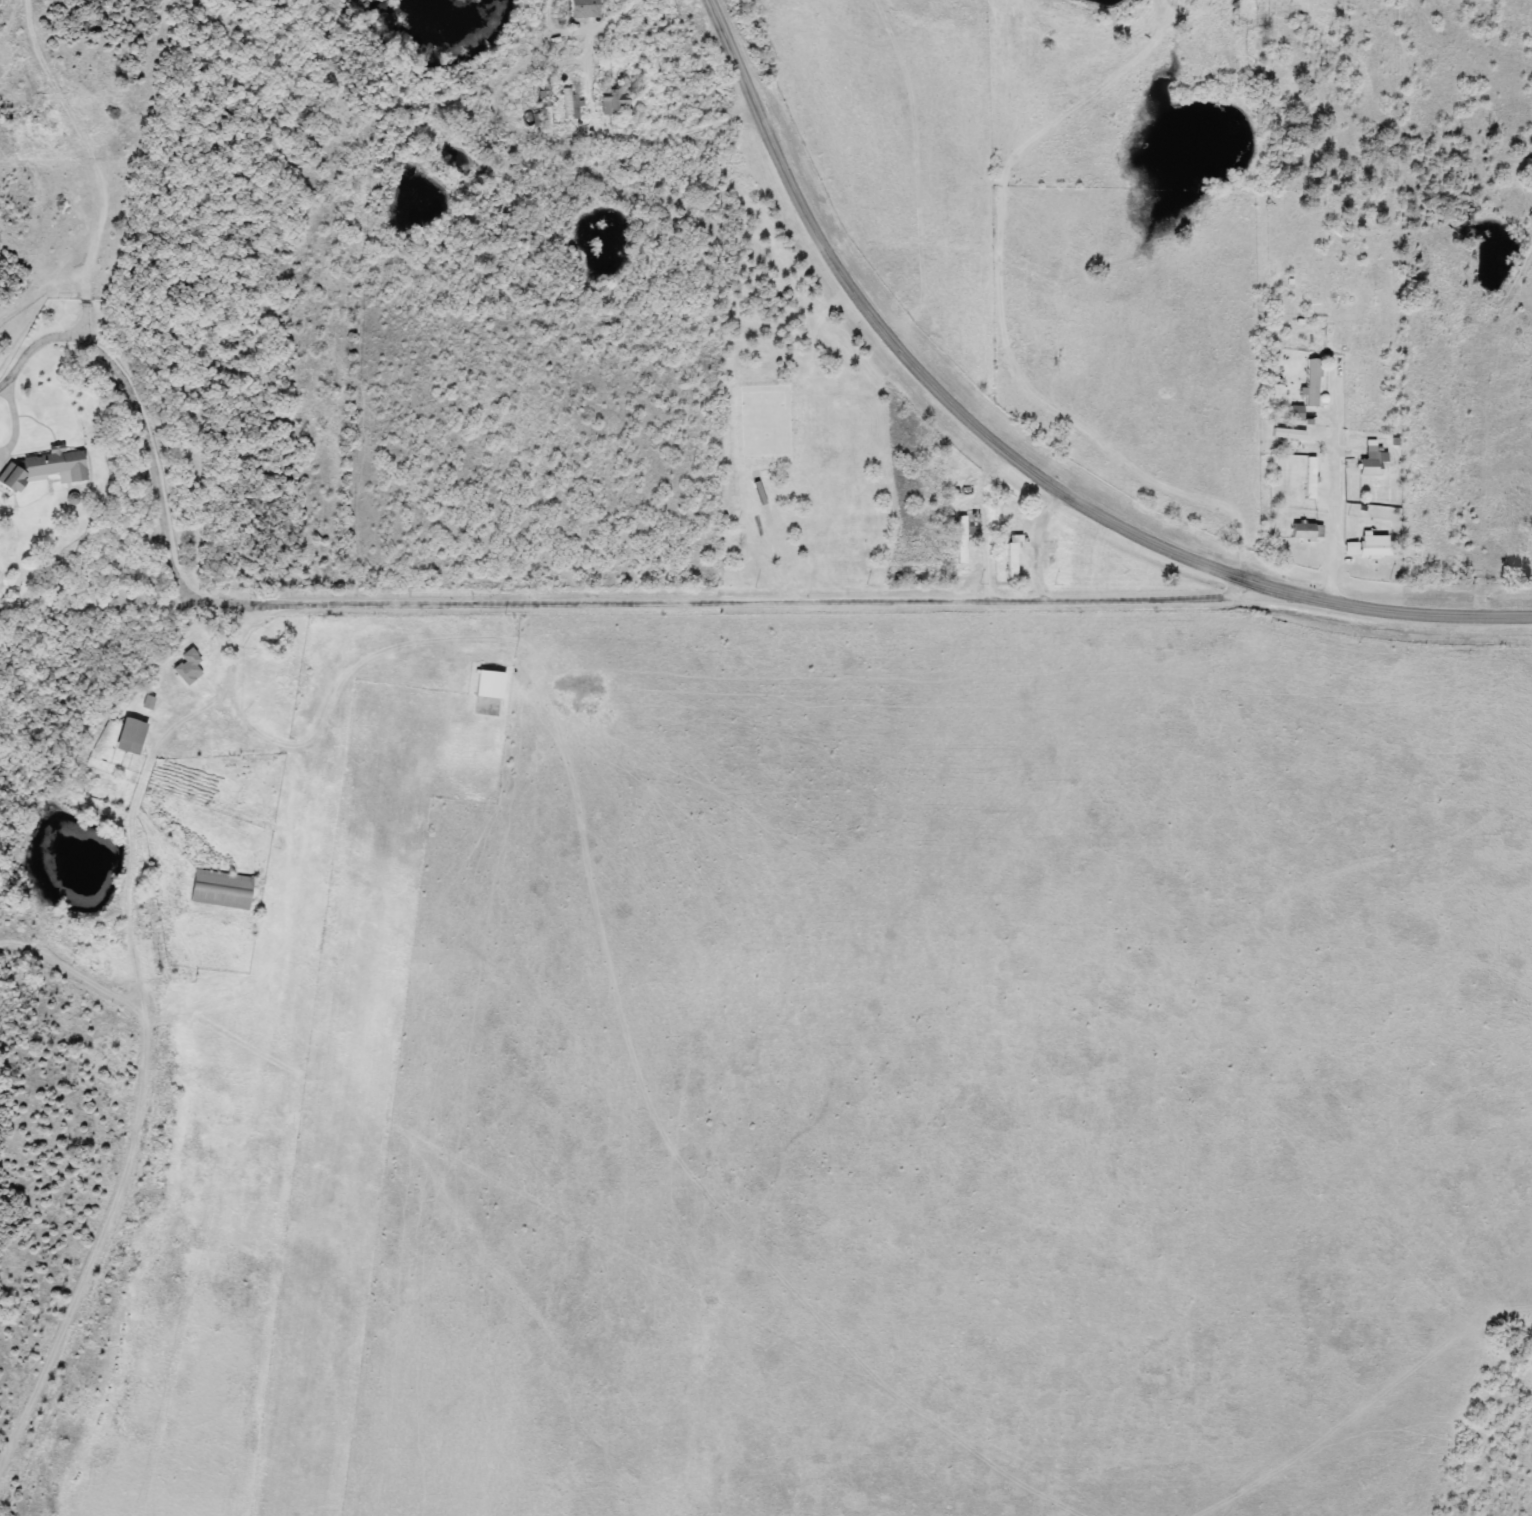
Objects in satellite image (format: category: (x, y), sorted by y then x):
building: (585, 7)
building: (615, 96)
building: (571, 100)
road: (517, 134)
road: (98, 163)
road: (1258, 285)
road: (36, 346)
road: (70, 377)
building: (1312, 382)
building: (1296, 413)
building: (1289, 433)
road: (1013, 453)
building: (1371, 461)
building: (47, 467)
building: (1310, 477)
road: (1333, 485)
building: (1009, 517)
road: (982, 520)
building: (1307, 531)
building: (964, 535)
road: (1033, 541)
building: (1370, 546)
building: (1014, 556)
building: (1069, 564)
road: (599, 601)
building: (189, 667)
building: (490, 684)
building: (132, 736)
building: (222, 890)
road: (154, 1029)
airport: (841, 1072)
airport runway: (355, 1092)

